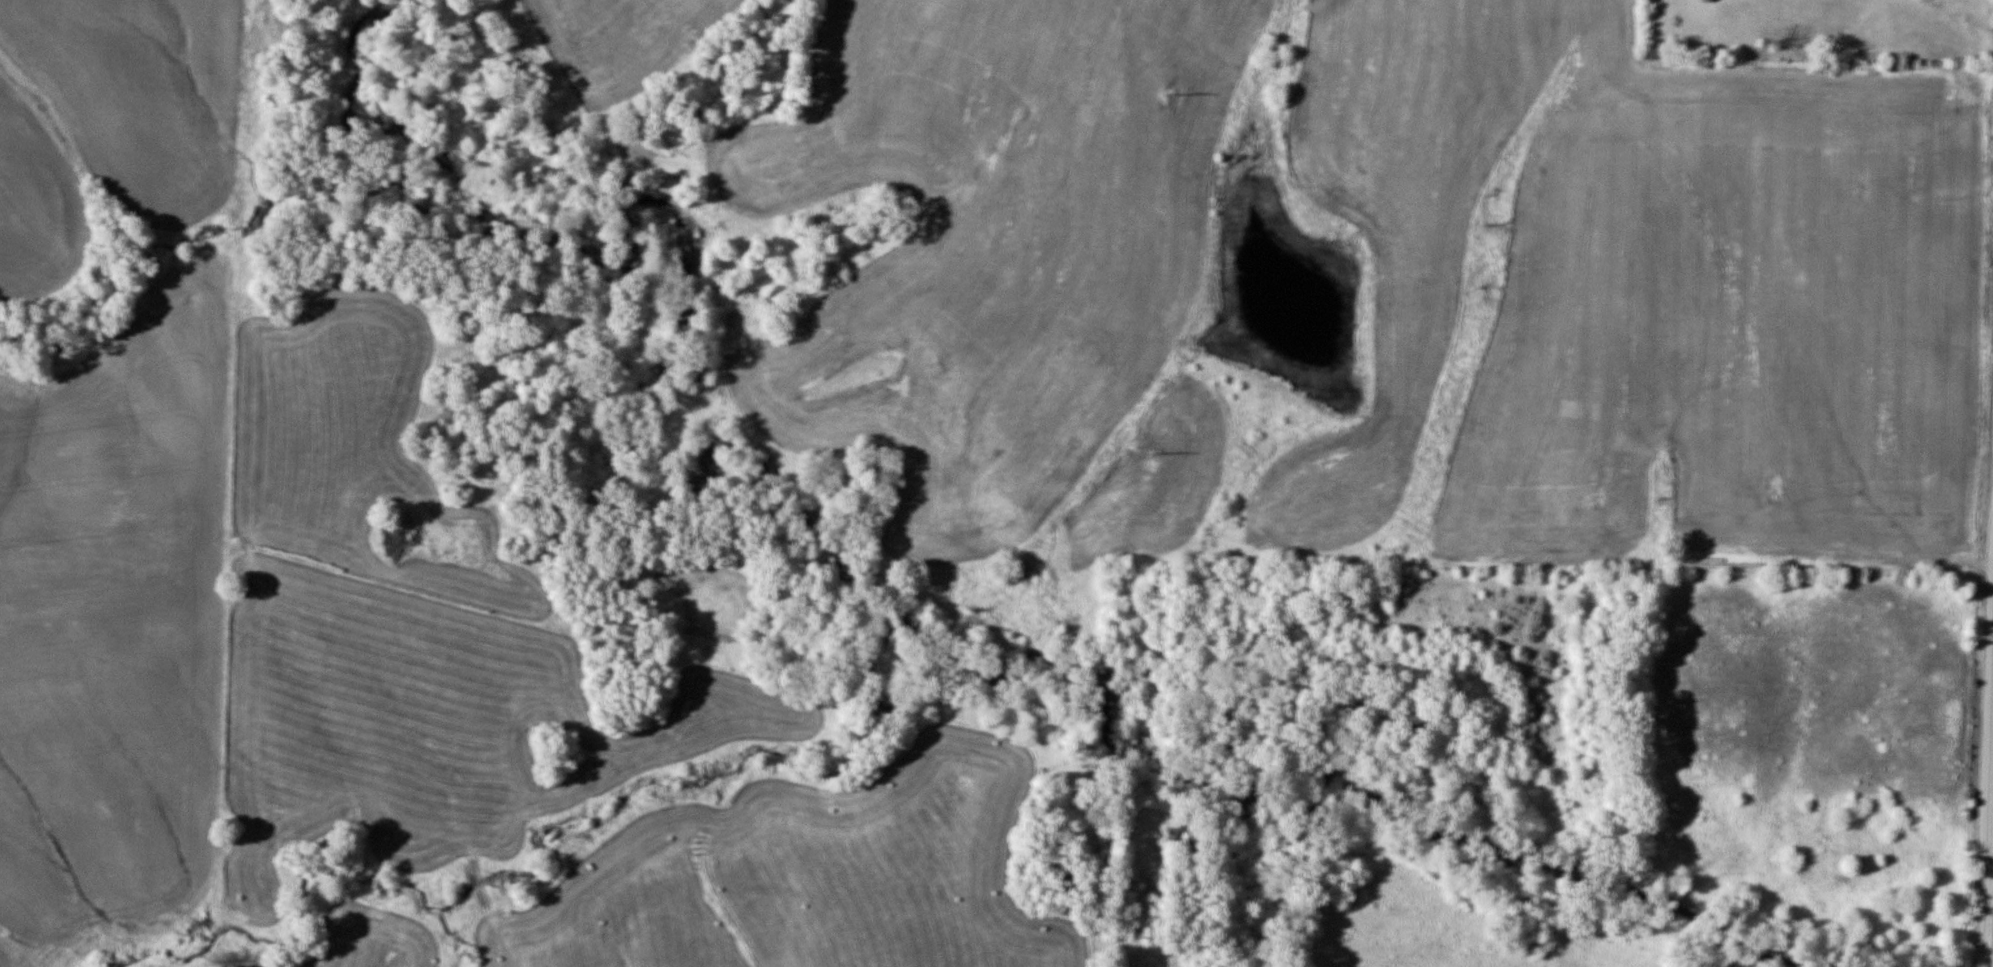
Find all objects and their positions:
road: (1985, 750)

